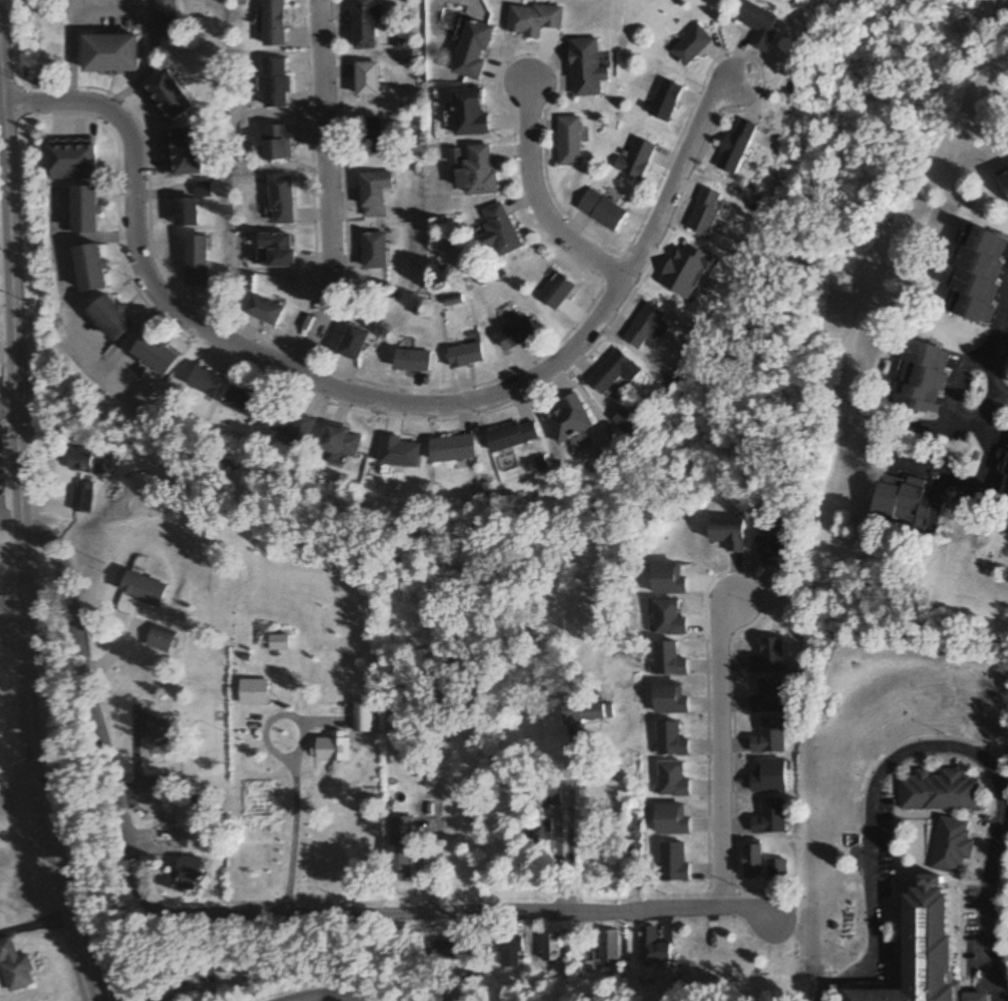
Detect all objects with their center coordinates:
building: (165, 19)
building: (532, 20)
building: (274, 23)
building: (364, 24)
building: (760, 26)
building: (691, 45)
building: (473, 50)
building: (112, 54)
building: (586, 68)
building: (366, 80)
building: (277, 84)
building: (168, 96)
building: (664, 100)
building: (469, 112)
building: (369, 135)
building: (569, 141)
building: (277, 144)
building: (738, 147)
building: (187, 152)
building: (636, 159)
building: (74, 163)
building: (477, 172)
building: (1004, 178)
road: (325, 190)
building: (372, 193)
road: (538, 199)
building: (281, 201)
building: (601, 210)
building: (87, 211)
building: (186, 213)
building: (707, 213)
building: (499, 232)
building: (278, 250)
building: (372, 251)
building: (196, 262)
building: (92, 269)
building: (977, 275)
building: (557, 293)
building: (263, 311)
building: (112, 319)
road: (994, 324)
building: (645, 327)
building: (516, 333)
road: (999, 335)
building: (352, 344)
building: (156, 353)
building: (466, 356)
building: (413, 362)
building: (611, 372)
building: (921, 378)
building: (206, 380)
road: (947, 388)
road: (998, 393)
road: (366, 399)
building: (246, 401)
building: (569, 419)
building: (292, 423)
building: (513, 434)
building: (343, 441)
building: (454, 448)
building: (400, 451)
building: (86, 460)
road: (927, 469)
building: (1004, 481)
building: (911, 501)
road: (19, 535)
building: (142, 588)
building: (279, 642)
building: (254, 692)
building: (588, 712)
building: (363, 716)
building: (160, 737)
road: (925, 746)
building: (332, 747)
road: (721, 750)
road: (290, 771)
building: (938, 791)
building: (552, 795)
road: (17, 799)
building: (165, 817)
road: (565, 823)
building: (633, 834)
building: (538, 836)
building: (950, 845)
building: (753, 861)
building: (402, 862)
building: (191, 872)
road: (248, 913)
building: (610, 946)
building: (653, 946)
building: (552, 947)
building: (923, 949)
building: (446, 950)
building: (512, 953)
building: (15, 966)
building: (193, 974)
road: (321, 996)

